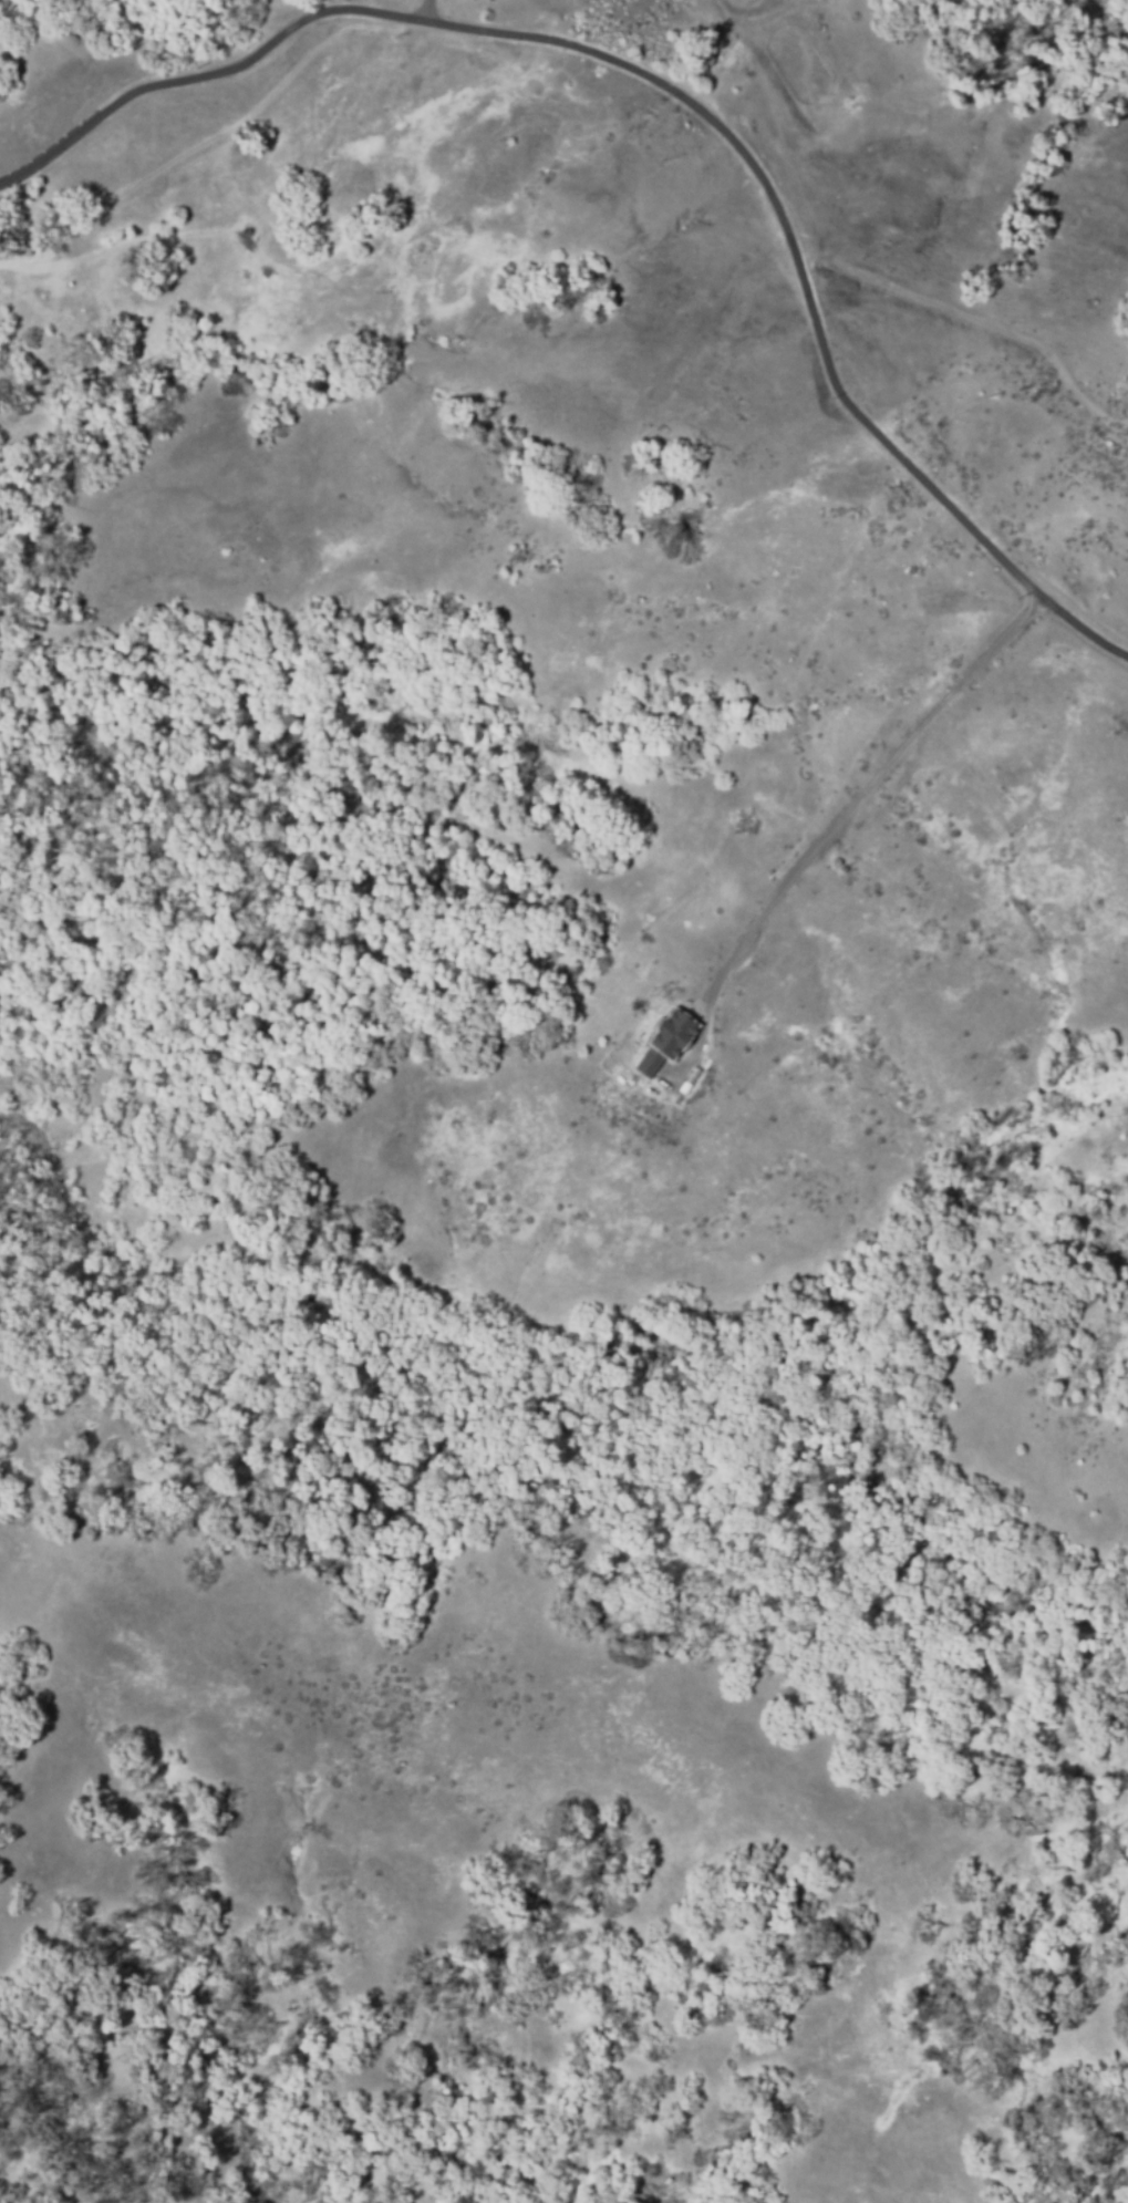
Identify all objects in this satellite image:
road: (422, 10)
road: (684, 86)
building: (25, 250)
road: (848, 818)
building: (835, 861)
building: (842, 868)
building: (665, 1043)

